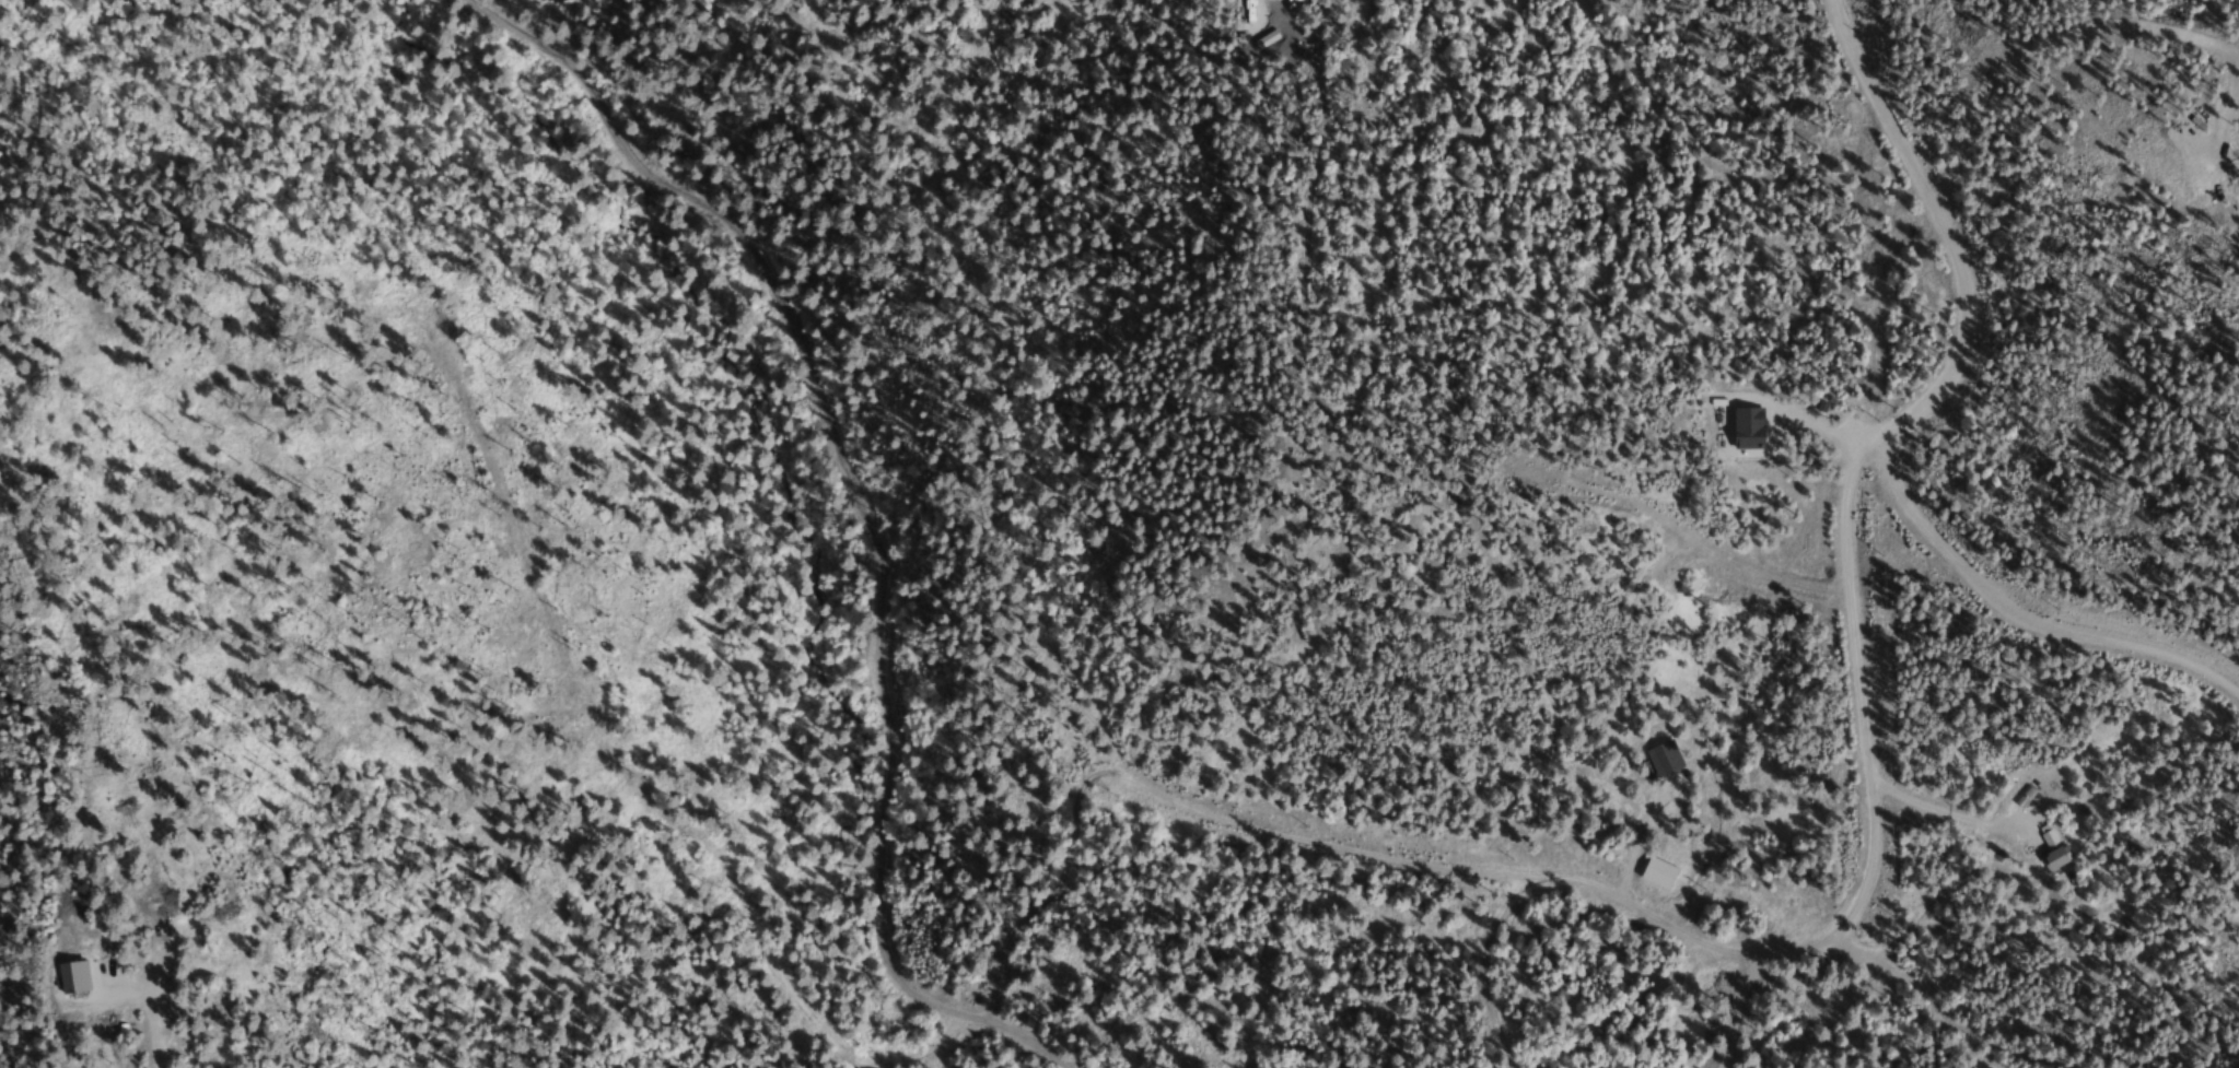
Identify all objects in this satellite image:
road: (875, 509)
building: (1661, 759)
building: (2045, 834)

